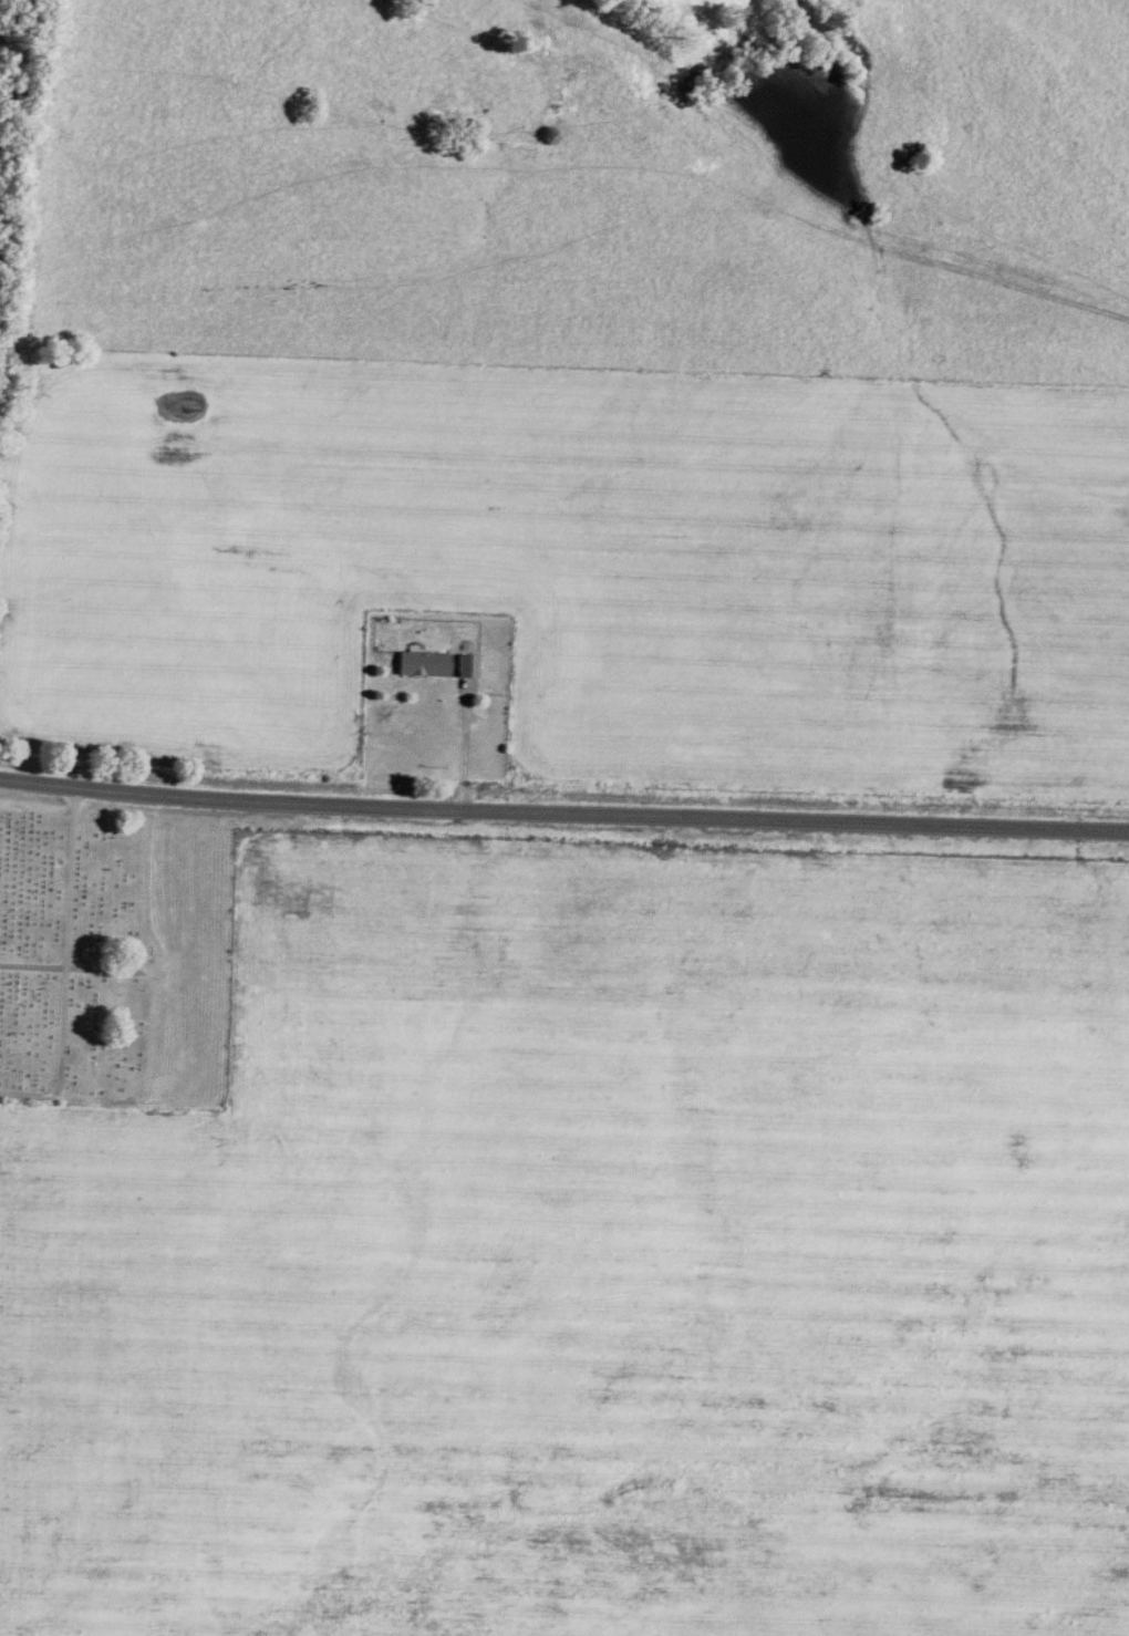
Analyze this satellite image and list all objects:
building: (423, 666)
building: (466, 669)
road: (460, 749)
road: (563, 815)
park: (114, 959)
road: (64, 971)

